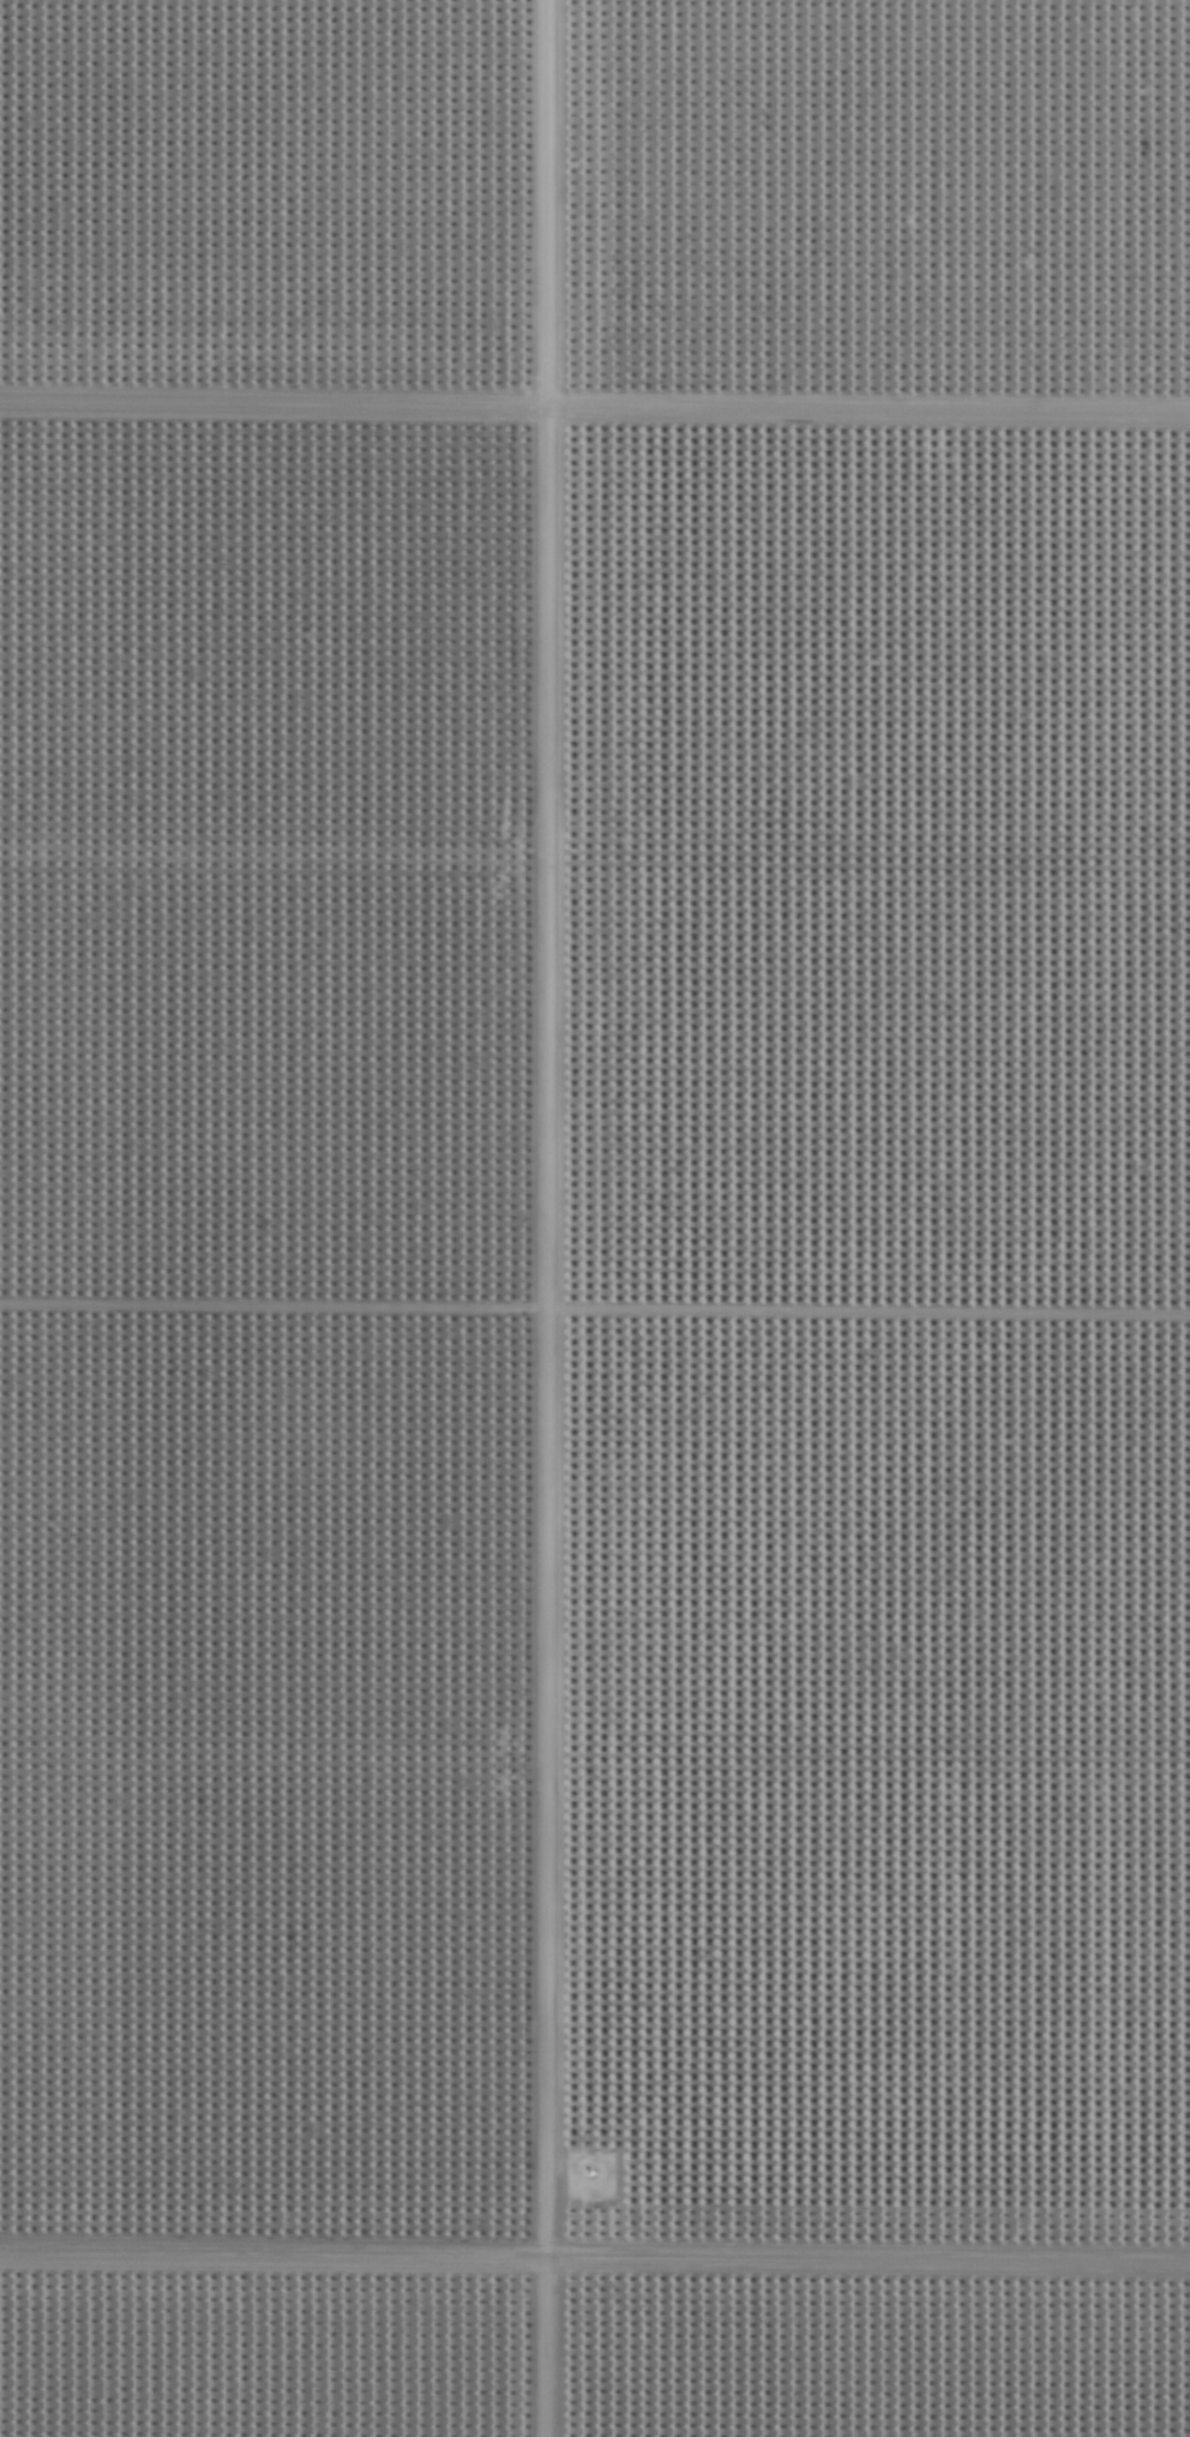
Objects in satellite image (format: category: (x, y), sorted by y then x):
road: (545, 1218)
crop: (595, 1218)
road: (595, 2202)

